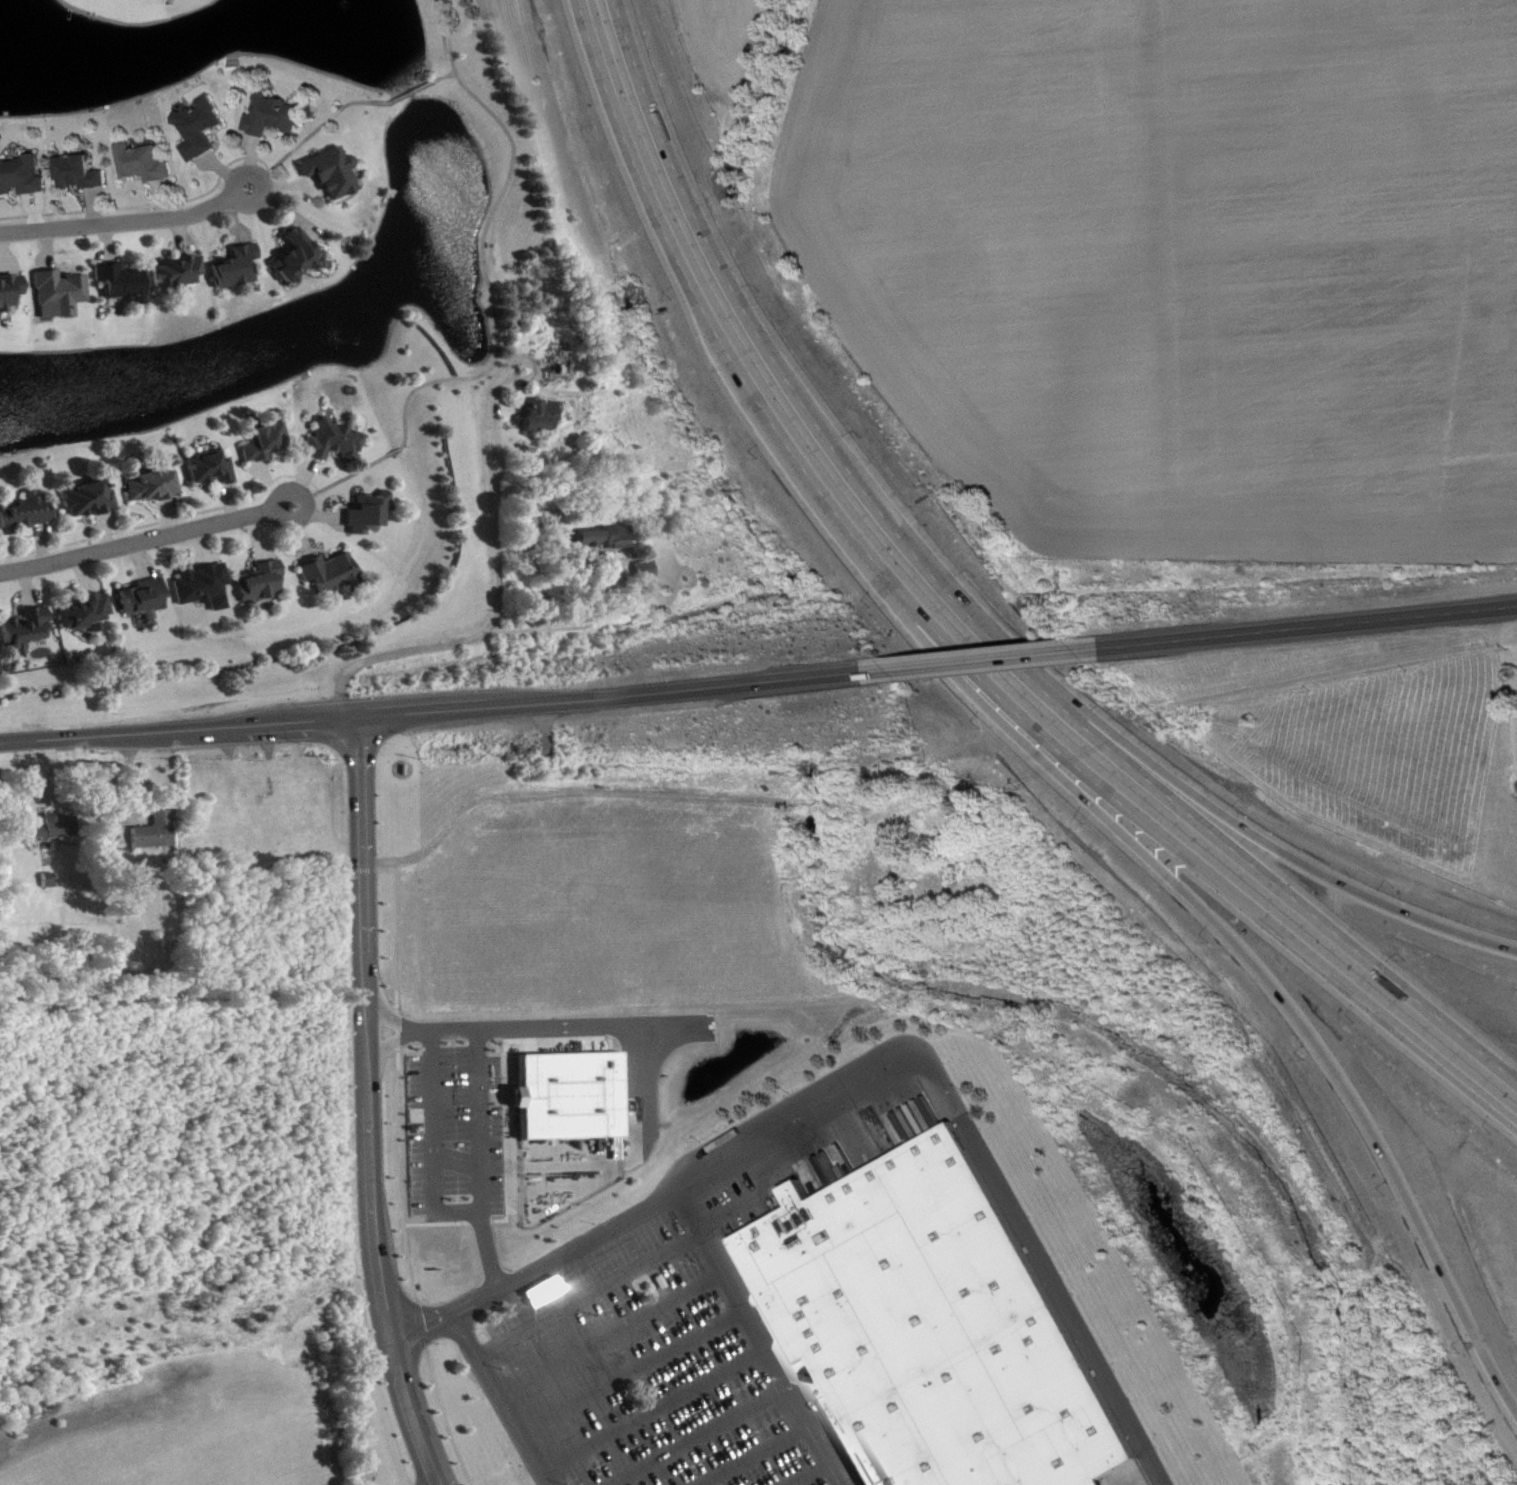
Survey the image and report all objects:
road: (343, 109)
building: (280, 117)
building: (204, 130)
building: (148, 165)
building: (335, 174)
building: (84, 175)
building: (23, 178)
road: (128, 220)
building: (300, 258)
building: (240, 269)
building: (180, 273)
building: (125, 284)
building: (11, 293)
building: (62, 296)
road: (494, 309)
building: (562, 369)
building: (542, 418)
building: (336, 443)
building: (268, 444)
building: (214, 471)
building: (155, 488)
building: (91, 501)
building: (29, 515)
building: (370, 515)
road: (145, 539)
building: (607, 540)
building: (529, 546)
building: (333, 574)
building: (265, 584)
building: (206, 588)
building: (147, 600)
building: (88, 612)
road: (968, 614)
road: (564, 625)
road: (1310, 625)
road: (485, 627)
building: (27, 632)
road: (947, 639)
road: (987, 659)
road: (435, 711)
road: (356, 747)
road: (167, 749)
road: (389, 802)
road: (339, 808)
building: (52, 831)
building: (157, 834)
road: (369, 868)
road: (1331, 873)
road: (553, 1028)
road: (1309, 1031)
building: (567, 1093)
road: (372, 1106)
road: (478, 1121)
road: (432, 1154)
road: (997, 1180)
road: (579, 1244)
road: (620, 1275)
building: (929, 1329)
road: (609, 1330)
road: (757, 1337)
parking lot: (651, 1346)
road: (631, 1369)
road: (502, 1399)
road: (652, 1409)
road: (695, 1436)
road: (752, 1455)
road: (806, 1473)

